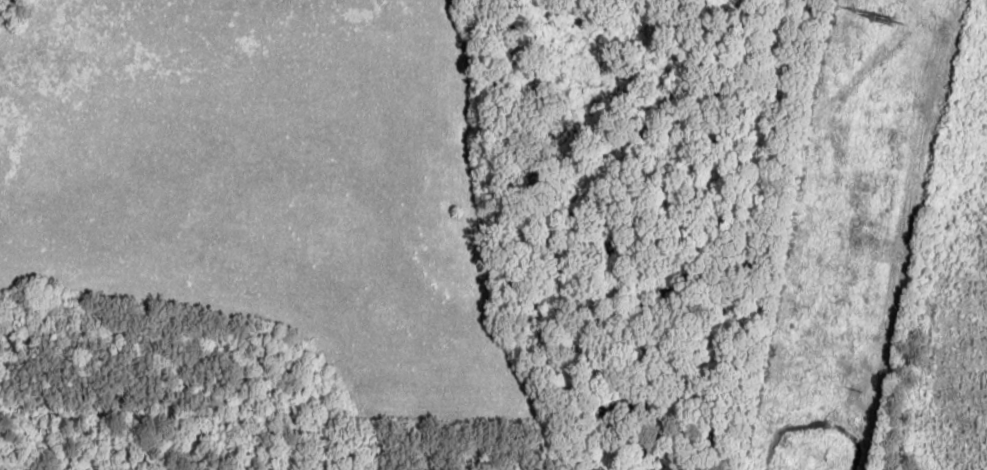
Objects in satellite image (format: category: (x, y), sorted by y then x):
power tower: (870, 18)

